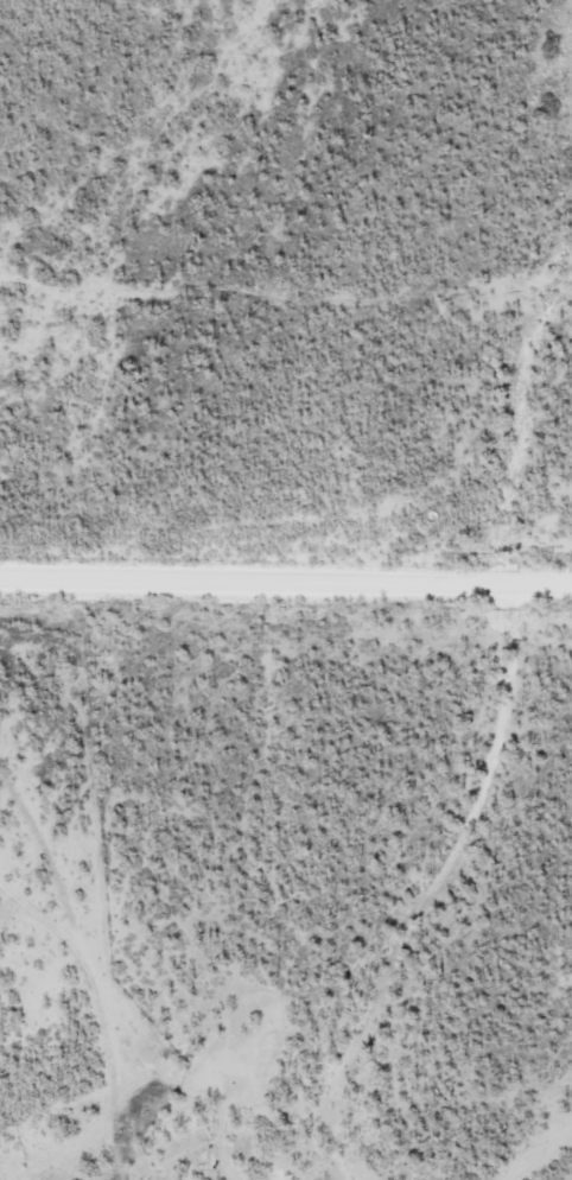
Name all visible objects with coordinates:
road: (285, 595)
power tower: (259, 637)
road: (55, 975)
road: (59, 1131)

